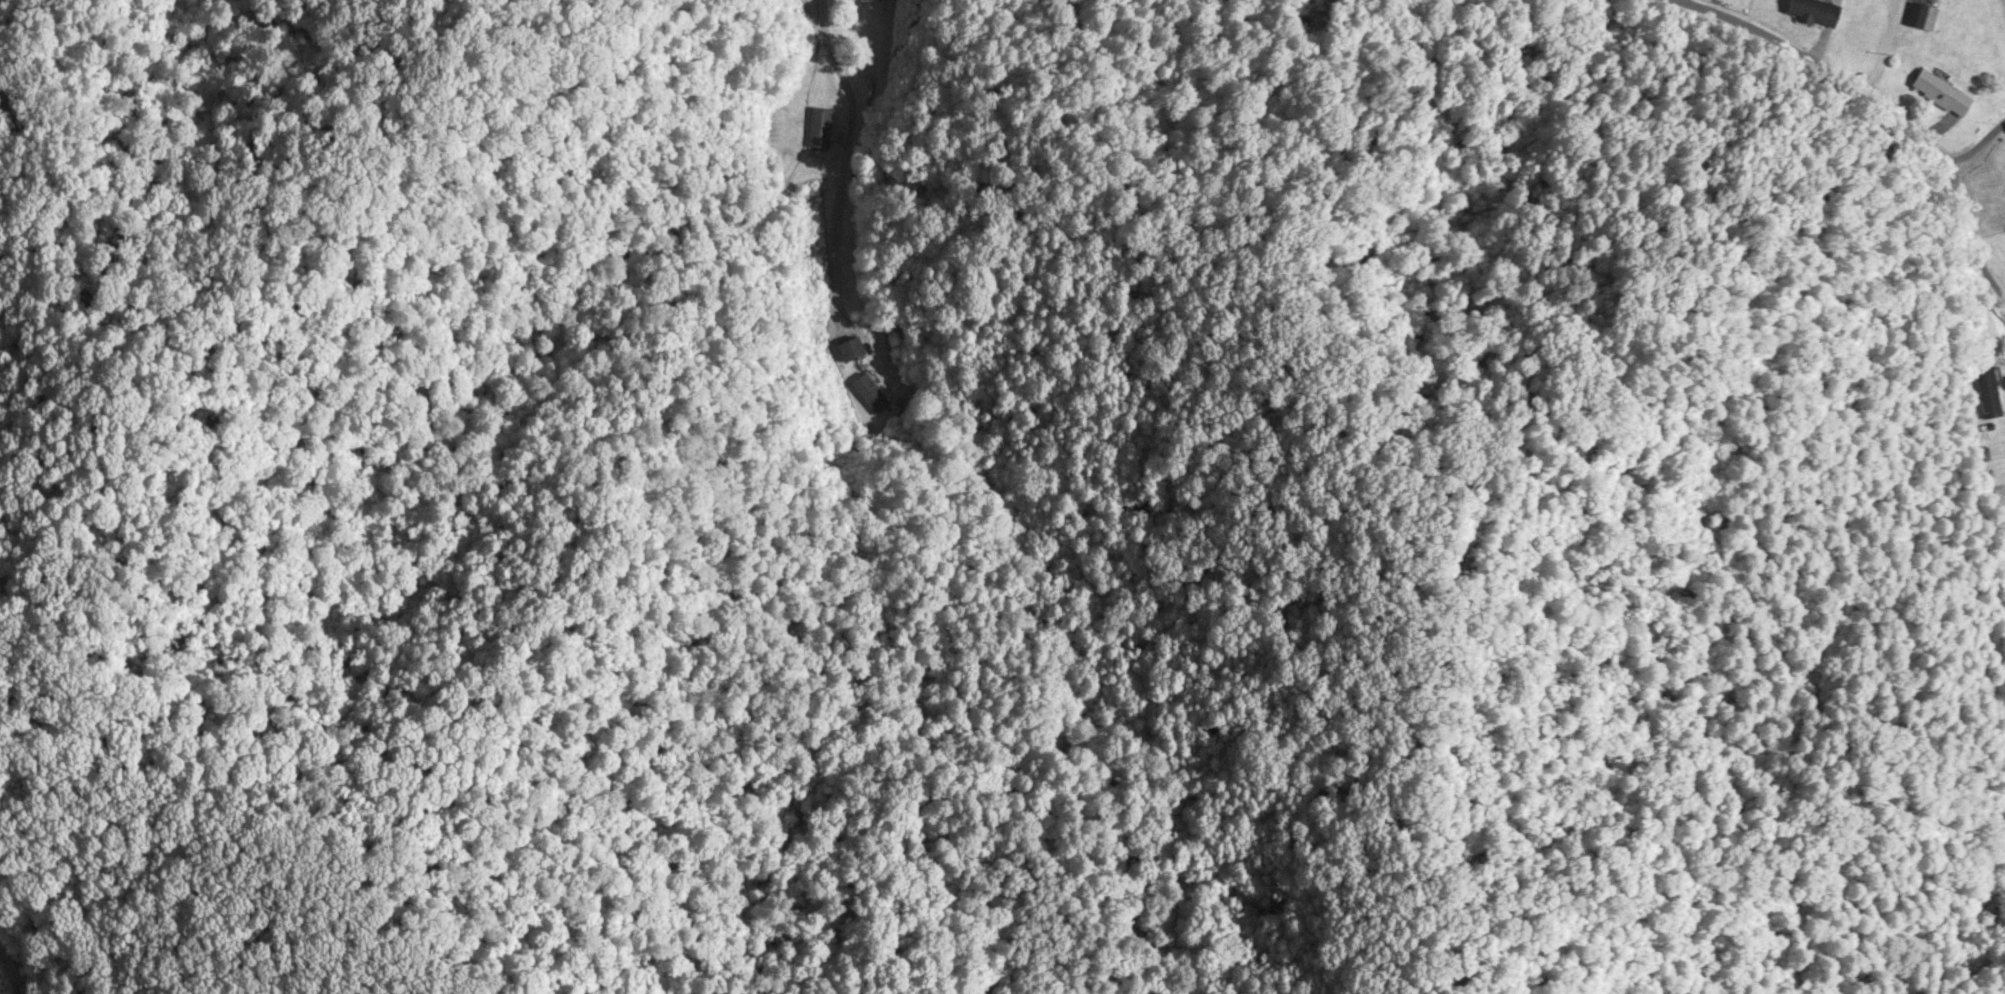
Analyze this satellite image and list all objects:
building: (1922, 18)
road: (1883, 49)
road: (1895, 118)
road: (1967, 129)
building: (2000, 463)

